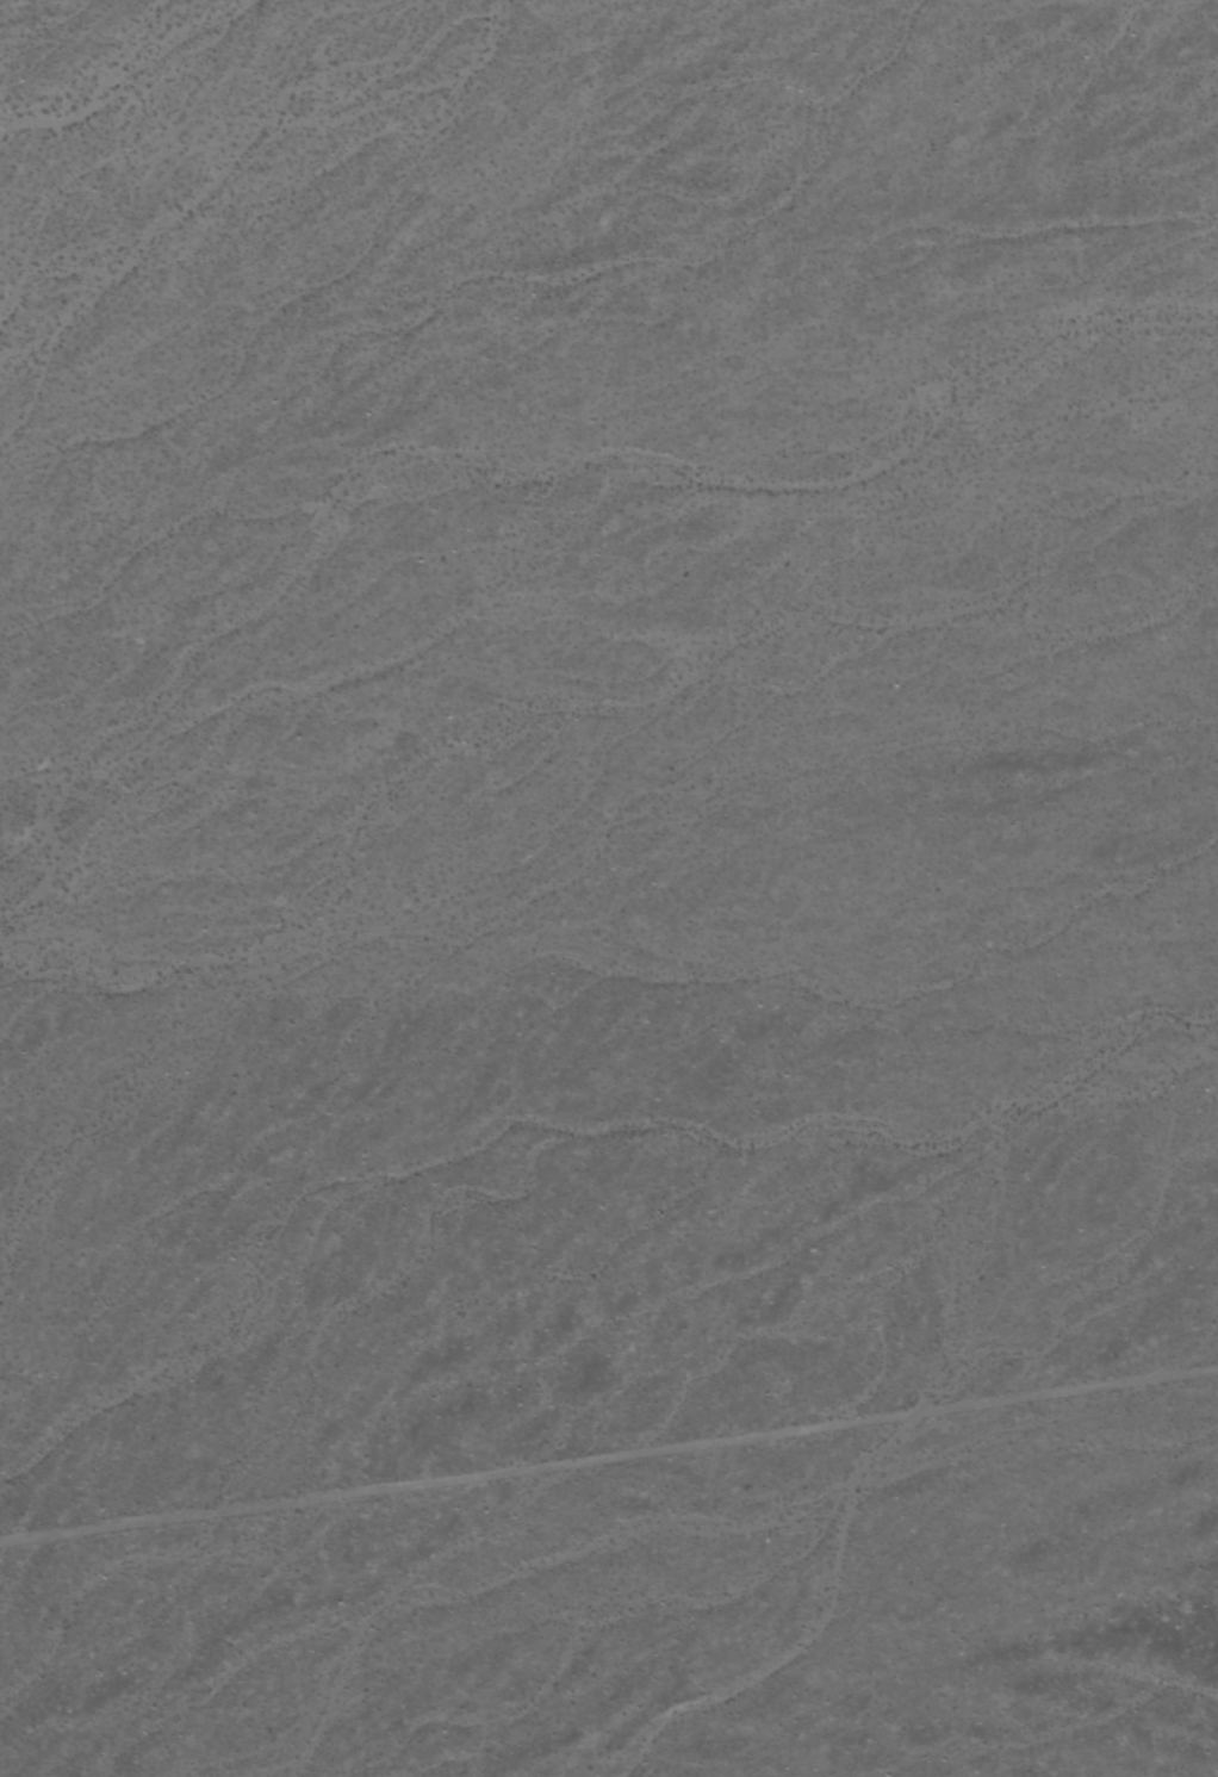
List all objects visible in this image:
road: (609, 1456)

